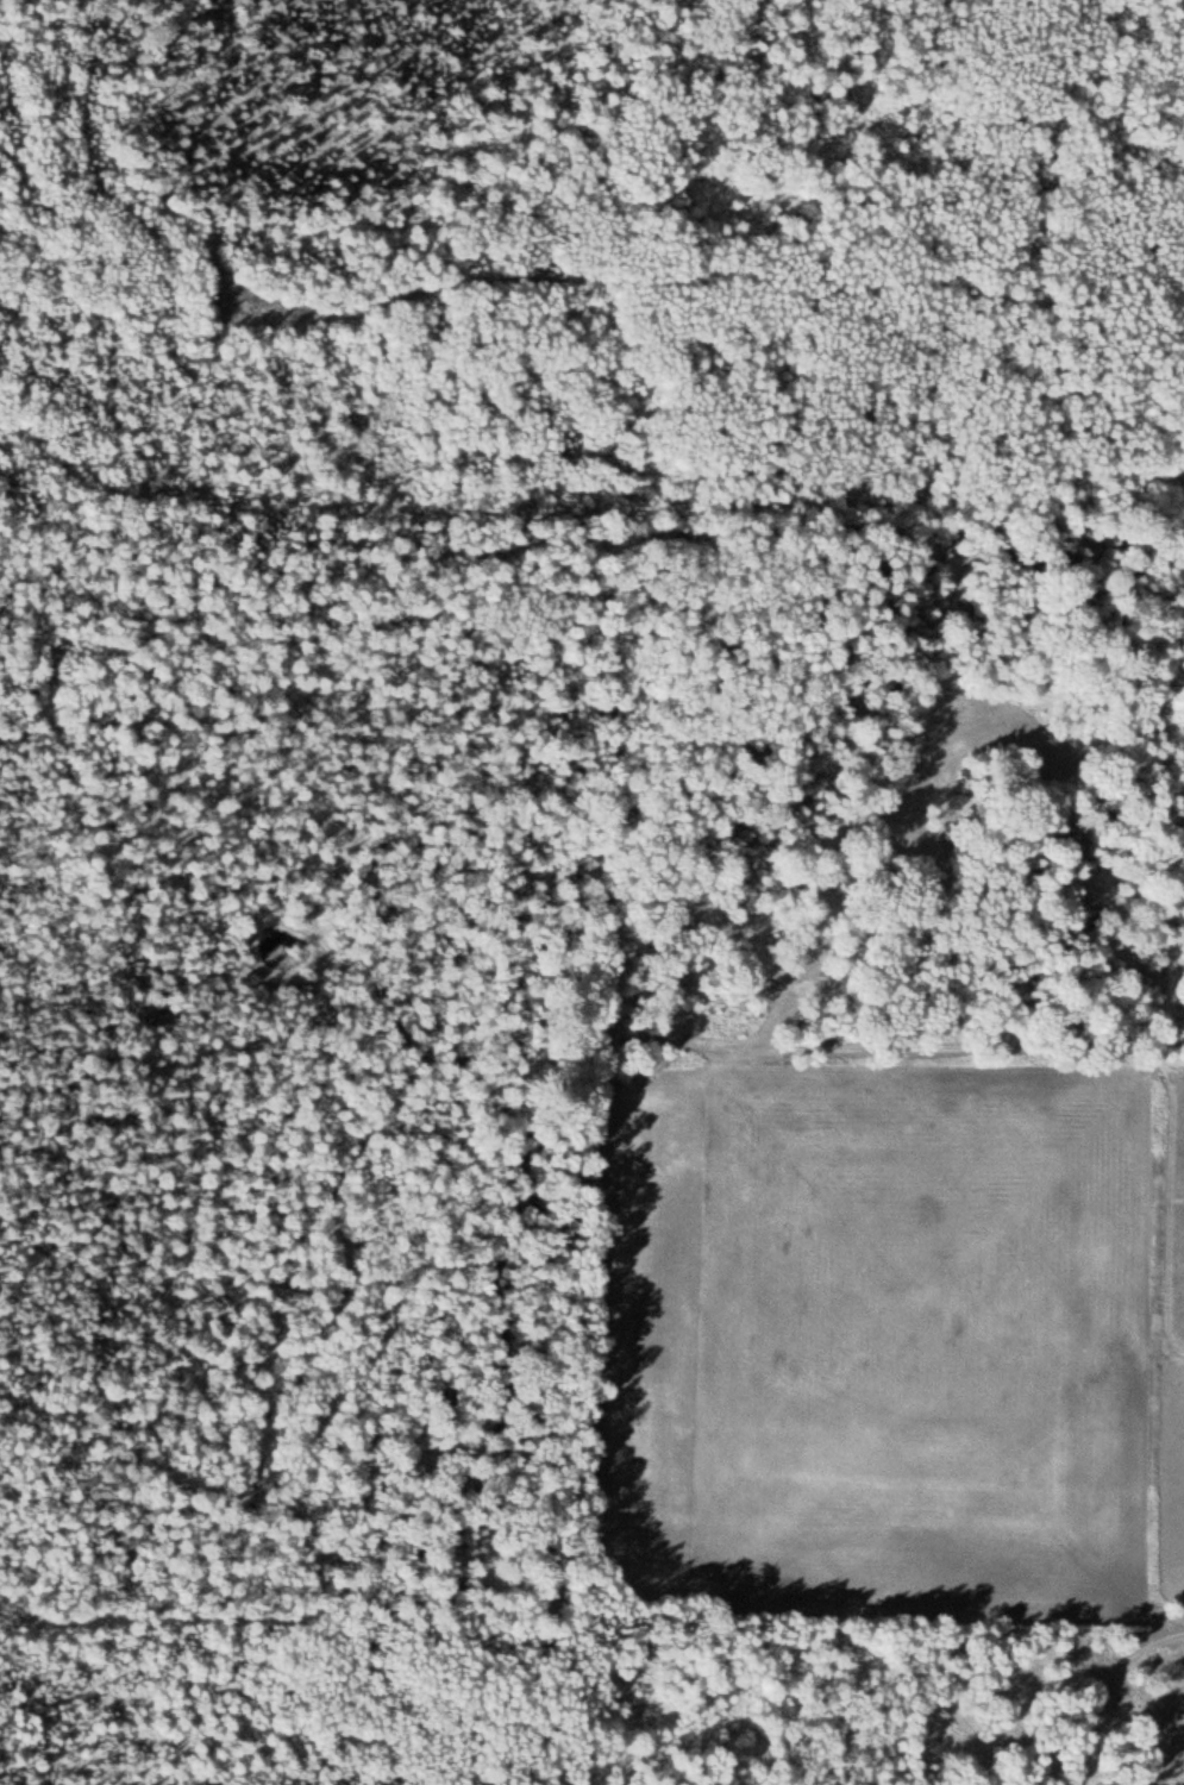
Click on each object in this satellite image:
road: (1172, 1590)
road: (1147, 1683)

